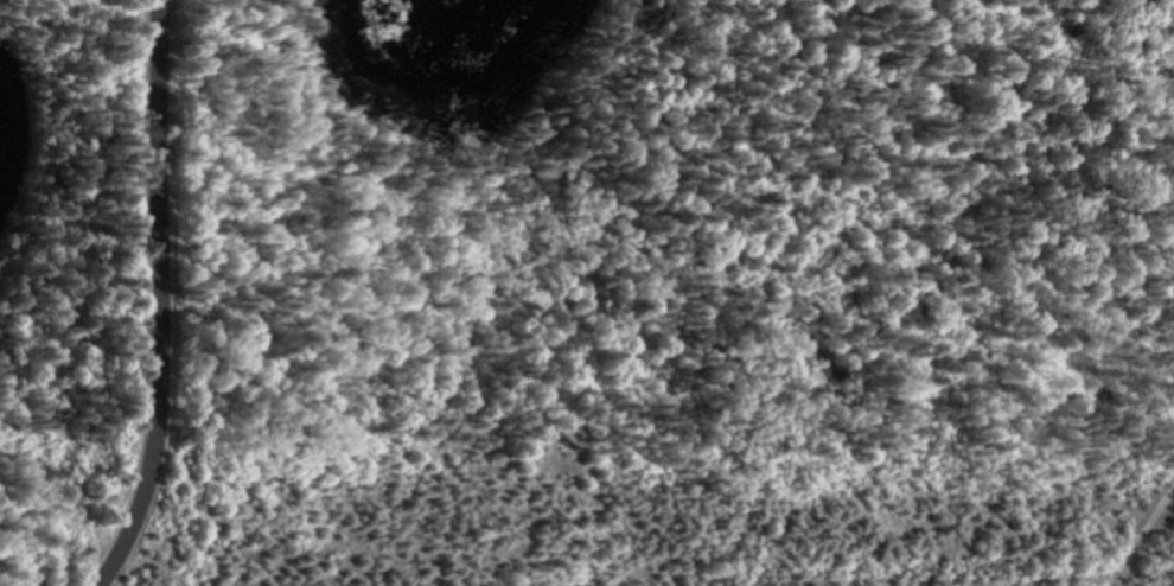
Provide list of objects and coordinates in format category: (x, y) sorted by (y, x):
road: (147, 299)
road: (1132, 533)

